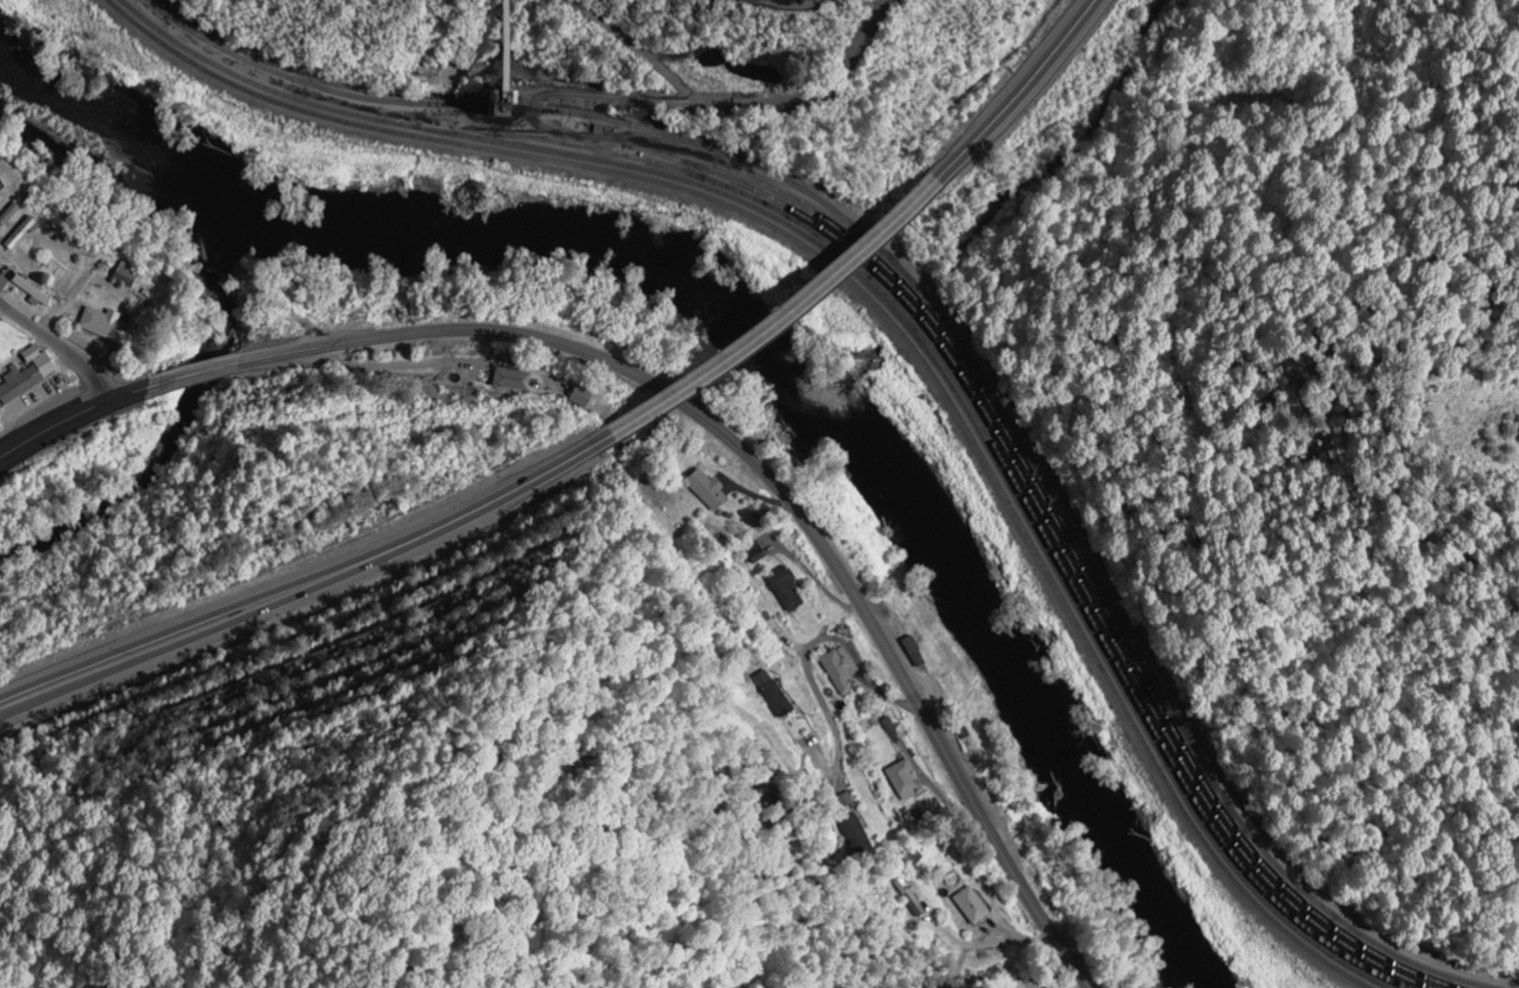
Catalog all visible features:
road: (1016, 95)
building: (1, 263)
building: (124, 276)
building: (31, 293)
railway: (879, 309)
road: (773, 313)
railway: (895, 313)
river: (748, 317)
building: (103, 326)
road: (61, 347)
building: (26, 376)
building: (510, 381)
building: (578, 399)
road: (682, 402)
building: (706, 490)
building: (754, 554)
road: (311, 583)
building: (784, 591)
road: (860, 668)
building: (839, 670)
building: (772, 694)
building: (902, 780)
building: (844, 800)
building: (855, 835)
building: (970, 906)

